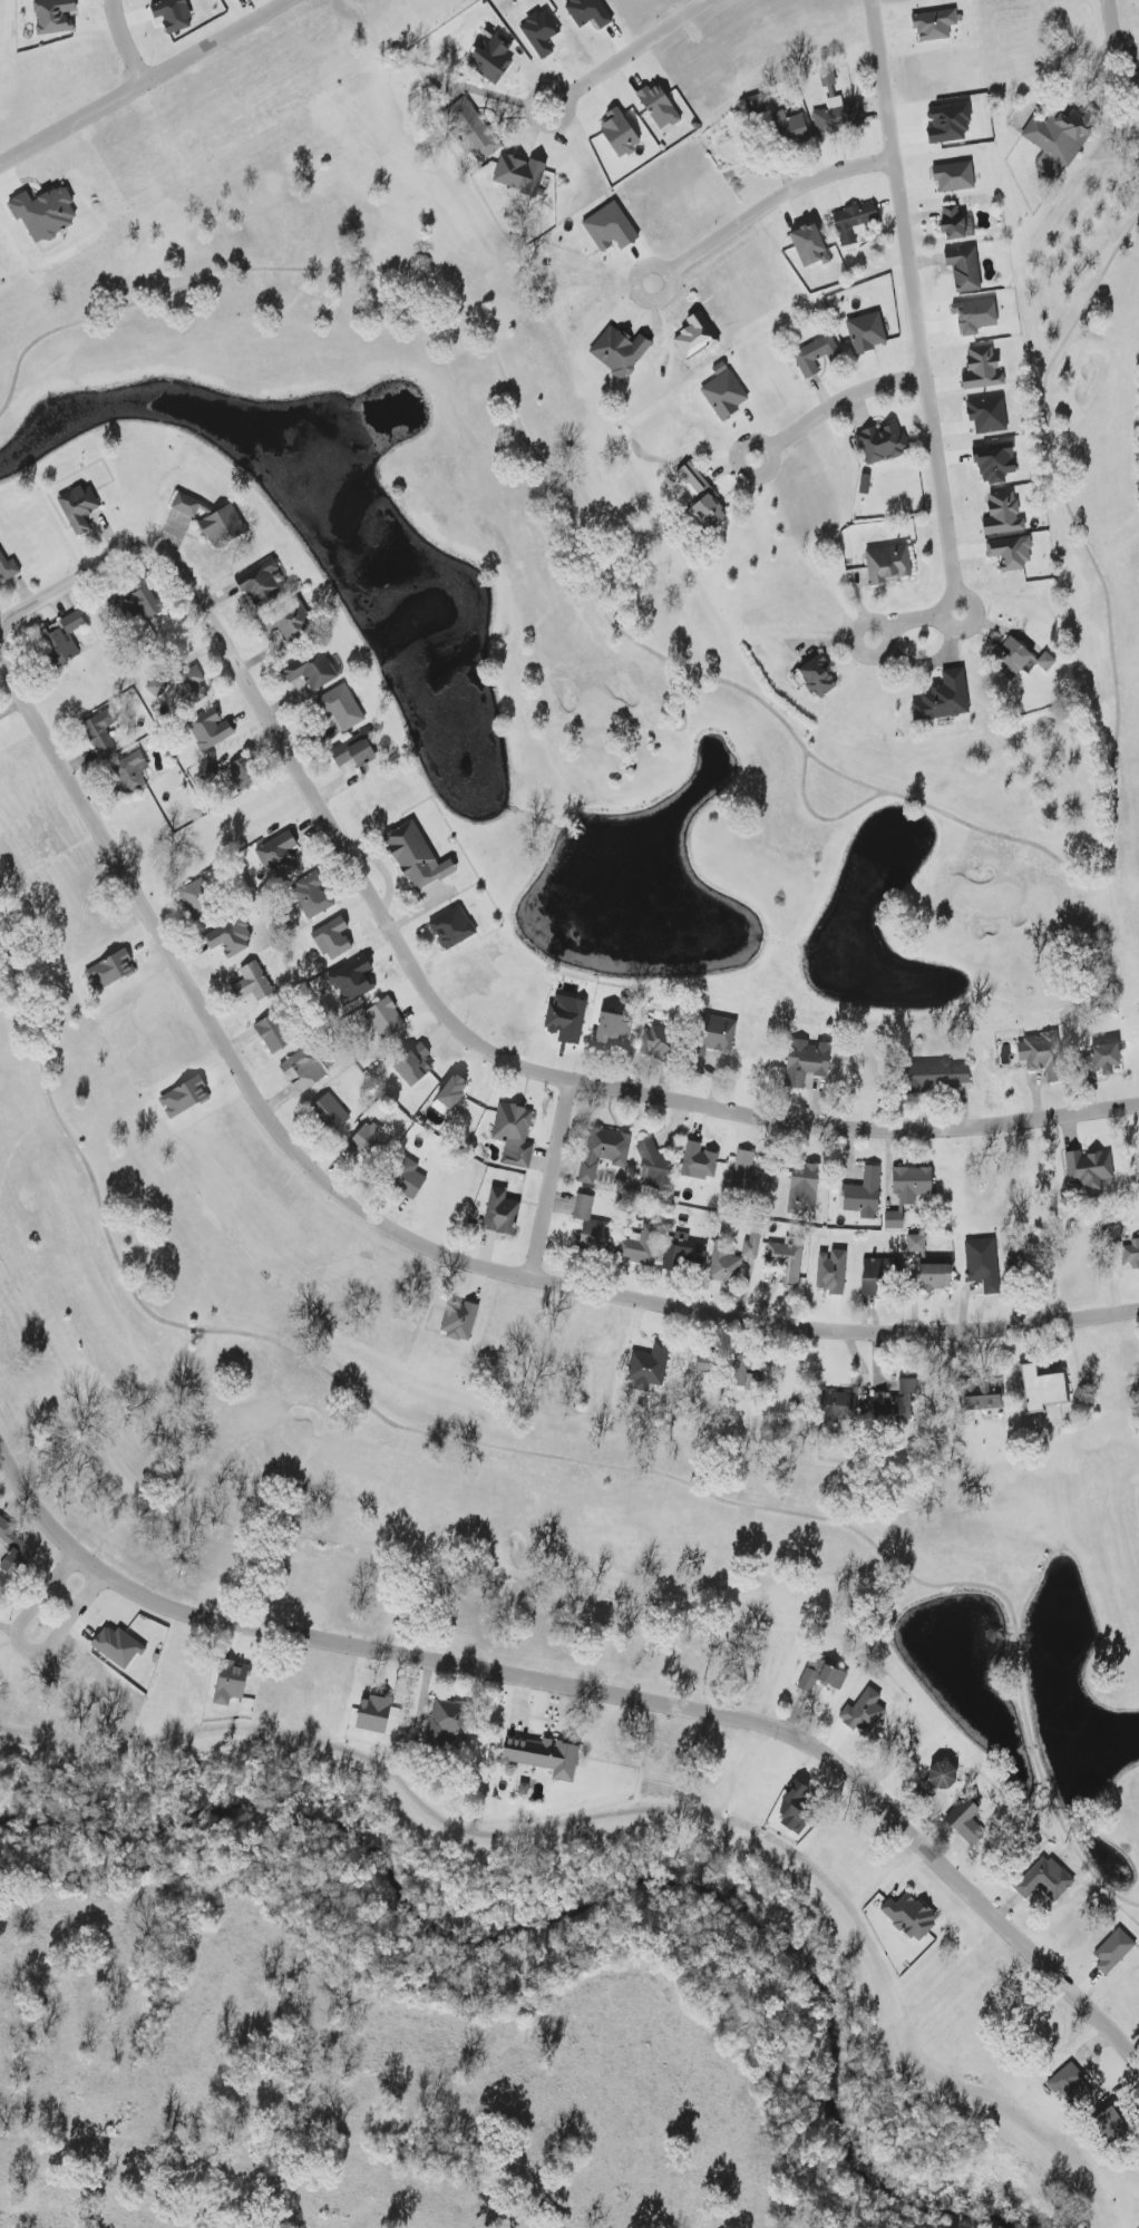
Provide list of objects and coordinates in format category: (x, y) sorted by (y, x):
building: (590, 12)
building: (174, 14)
building: (53, 16)
road: (1114, 20)
building: (935, 25)
building: (541, 33)
road: (128, 43)
road: (644, 47)
building: (493, 58)
road: (146, 87)
building: (755, 105)
building: (659, 106)
building: (838, 116)
building: (950, 124)
building: (473, 128)
building: (795, 129)
building: (620, 133)
building: (1061, 134)
building: (519, 174)
building: (954, 176)
road: (783, 201)
building: (45, 213)
building: (854, 223)
building: (956, 224)
building: (610, 228)
building: (811, 245)
building: (964, 269)
road: (915, 283)
building: (866, 333)
building: (620, 352)
building: (816, 356)
building: (983, 369)
building: (724, 396)
road: (849, 400)
building: (987, 415)
building: (882, 444)
building: (995, 463)
building: (864, 484)
building: (704, 500)
building: (185, 506)
building: (78, 507)
building: (1003, 515)
building: (223, 527)
building: (1011, 554)
building: (888, 564)
building: (8, 568)
building: (262, 583)
road: (934, 614)
building: (71, 623)
building: (294, 624)
building: (62, 645)
building: (1012, 656)
building: (1045, 662)
building: (314, 671)
building: (818, 677)
building: (193, 684)
building: (154, 687)
building: (944, 701)
building: (340, 708)
building: (210, 730)
building: (101, 732)
building: (356, 751)
building: (207, 772)
building: (132, 774)
building: (240, 775)
building: (278, 856)
building: (418, 858)
building: (197, 894)
building: (315, 899)
building: (452, 927)
building: (232, 935)
building: (333, 938)
building: (110, 971)
building: (353, 977)
building: (252, 982)
park: (562, 996)
road: (442, 1012)
building: (386, 1018)
building: (566, 1018)
building: (610, 1030)
building: (273, 1033)
building: (721, 1034)
building: (659, 1040)
building: (1041, 1054)
building: (1109, 1058)
building: (808, 1061)
building: (413, 1066)
building: (303, 1070)
building: (941, 1074)
building: (450, 1094)
building: (184, 1097)
building: (331, 1112)
building: (514, 1134)
building: (367, 1141)
building: (604, 1151)
building: (699, 1161)
building: (654, 1162)
building: (1089, 1169)
building: (410, 1178)
road: (549, 1179)
building: (912, 1184)
building: (864, 1194)
building: (502, 1212)
building: (893, 1220)
building: (592, 1224)
road: (405, 1236)
building: (751, 1244)
building: (642, 1246)
building: (1129, 1252)
building: (683, 1254)
building: (787, 1258)
building: (1020, 1258)
building: (982, 1264)
building: (929, 1265)
building: (724, 1267)
building: (876, 1273)
building: (459, 1321)
building: (707, 1364)
building: (649, 1366)
building: (1044, 1388)
building: (896, 1400)
building: (985, 1400)
building: (841, 1404)
building: (14, 1550)
road: (21, 1642)
building: (119, 1644)
building: (821, 1675)
building: (231, 1684)
road: (594, 1689)
building: (374, 1715)
building: (448, 1722)
building: (544, 1757)
building: (944, 1773)
building: (798, 1808)
building: (966, 1822)
building: (1046, 1880)
river: (584, 1895)
building: (911, 1916)
building: (1113, 1952)
building: (1071, 2086)

